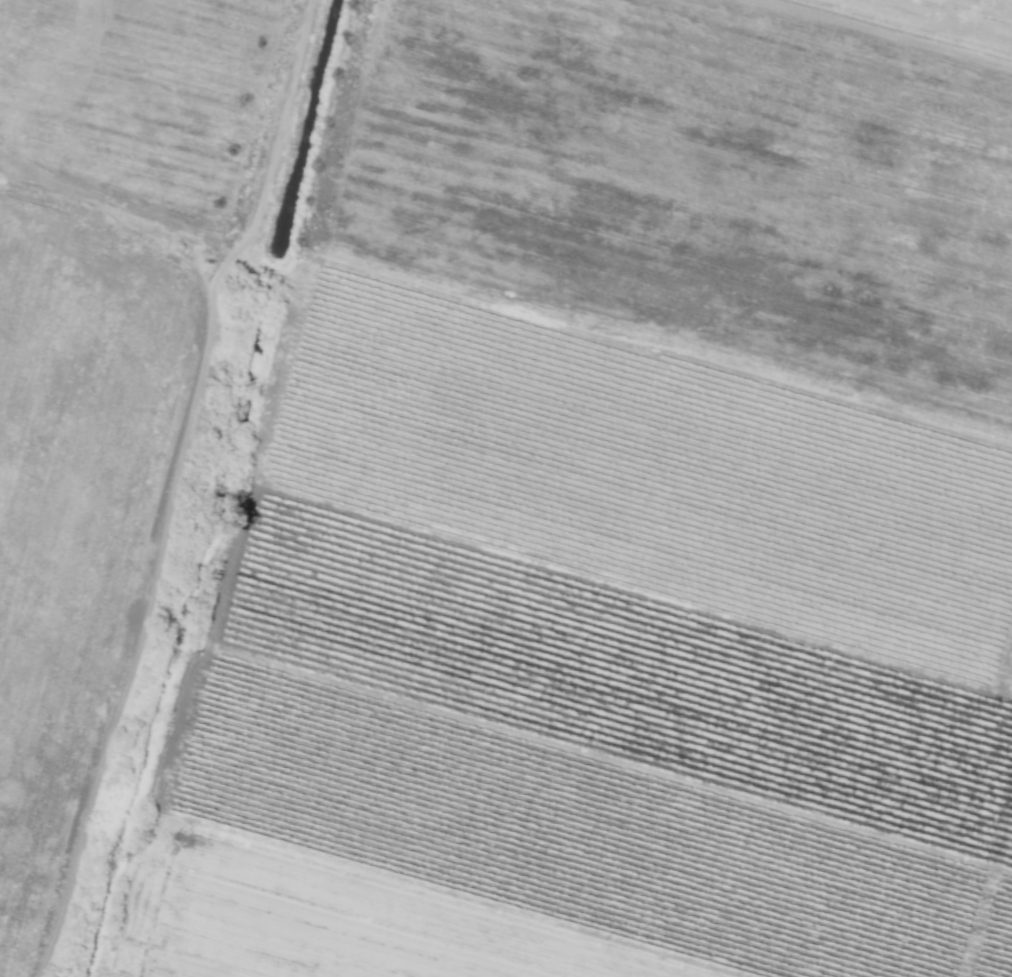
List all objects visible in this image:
road: (894, 31)

